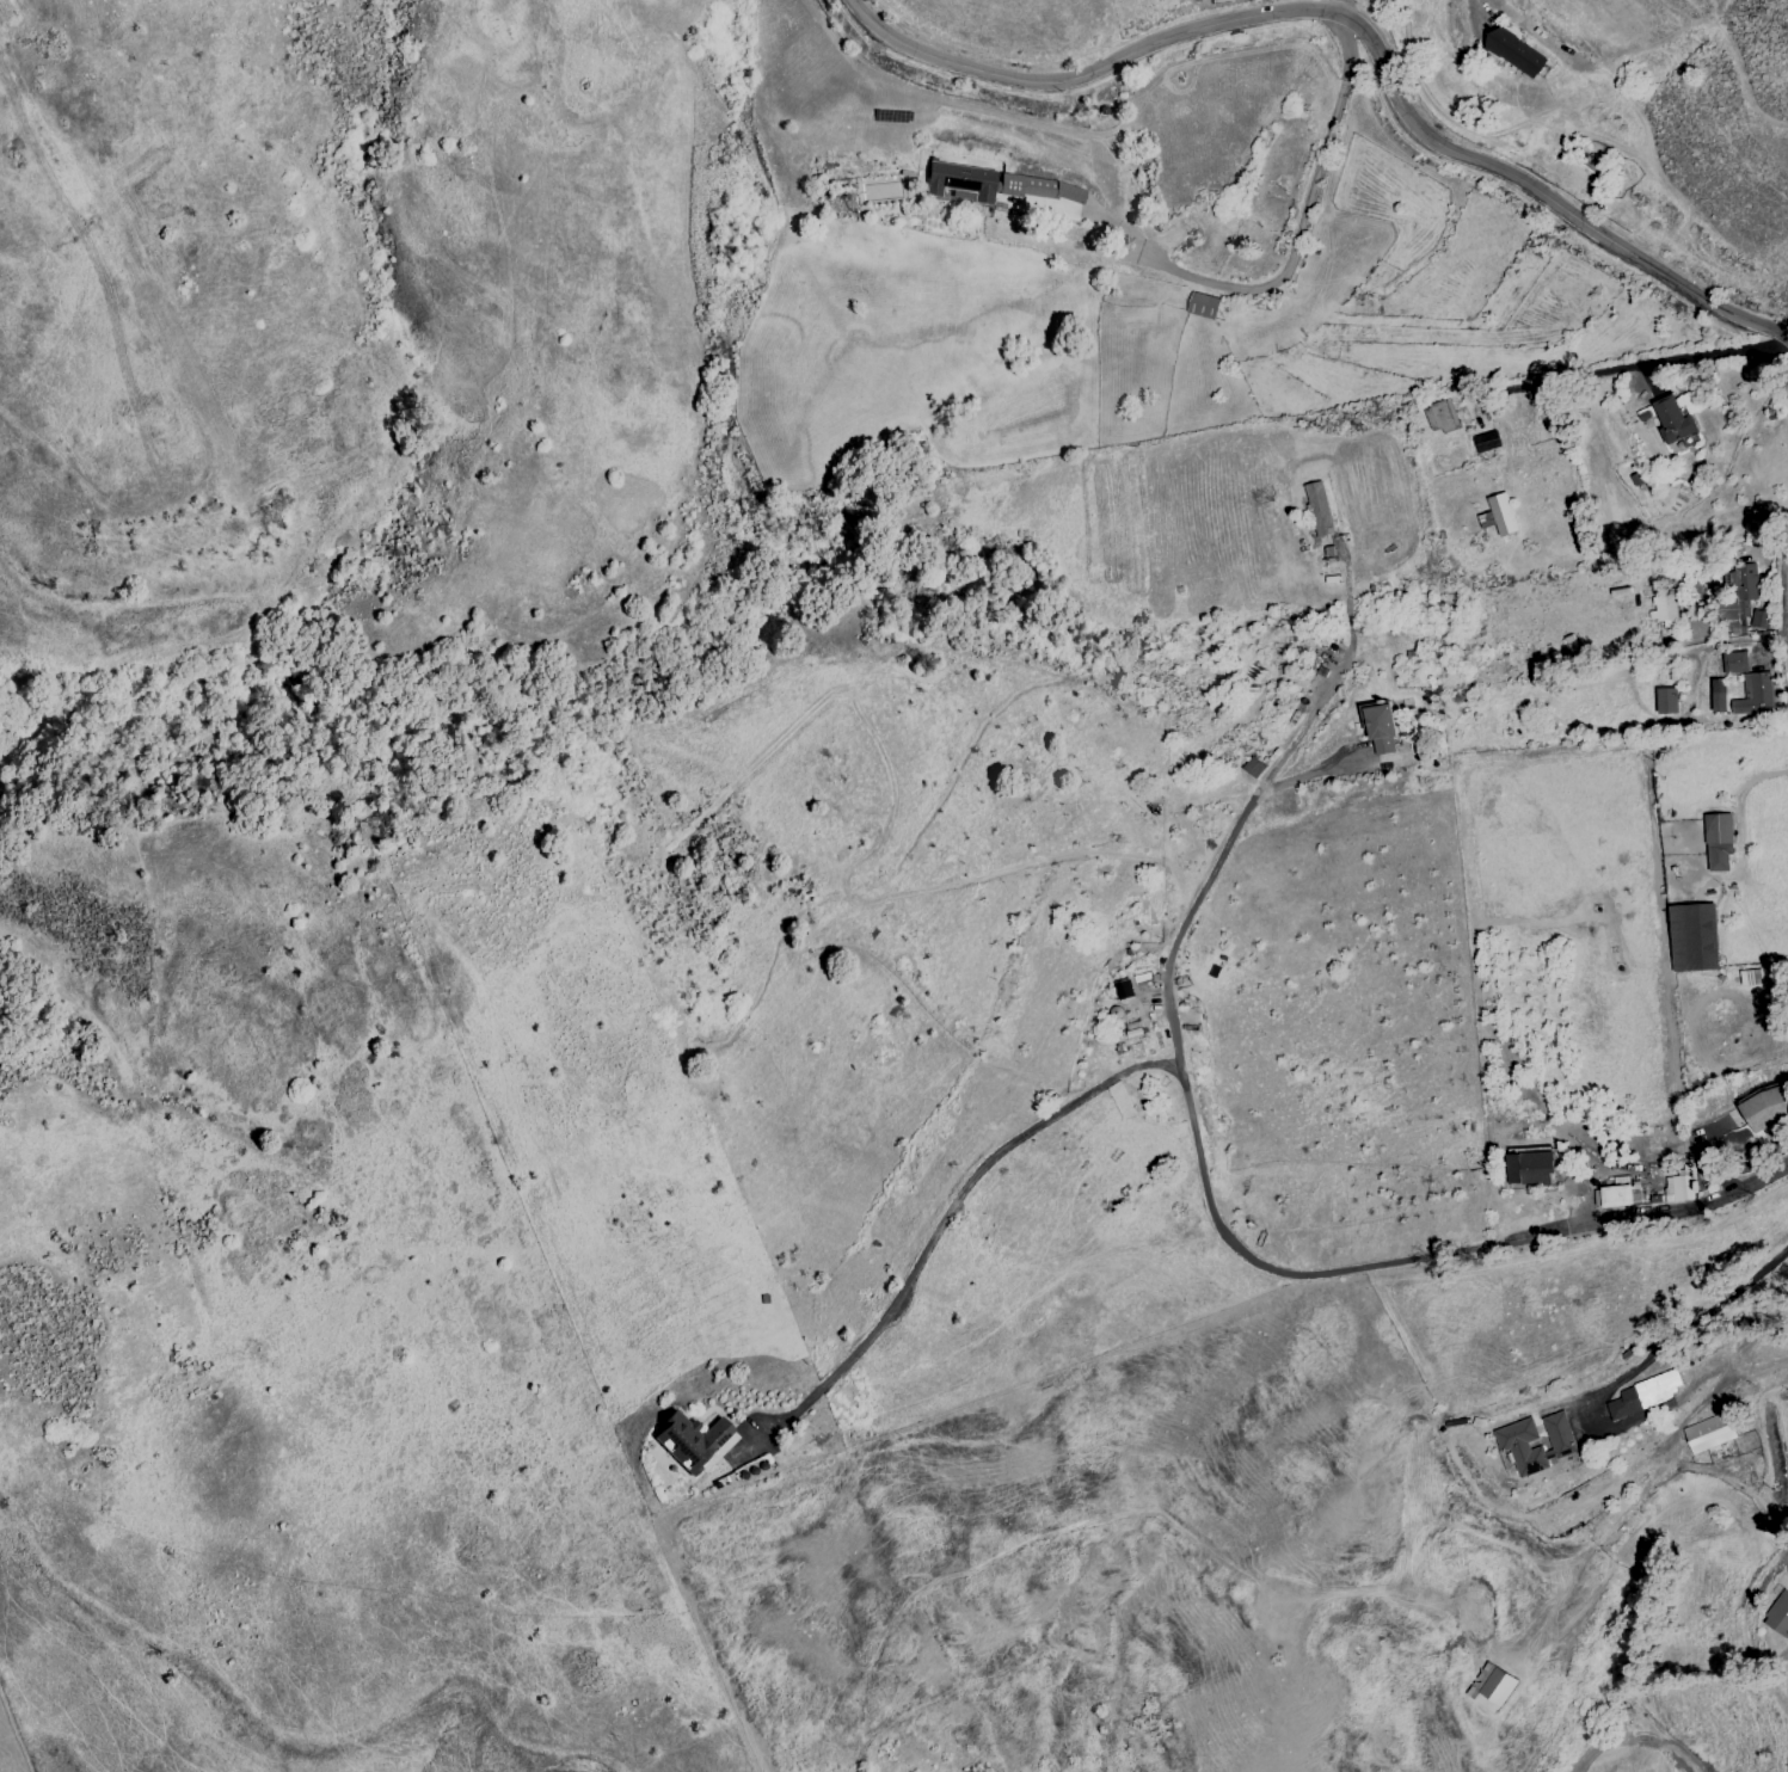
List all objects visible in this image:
road: (1326, 4)
road: (1500, 5)
road: (1356, 27)
building: (1514, 53)
building: (1002, 189)
road: (1301, 232)
building: (1203, 306)
road: (1653, 362)
building: (1440, 417)
building: (1672, 419)
building: (1486, 442)
building: (1317, 509)
building: (1499, 515)
road: (1786, 570)
building: (1738, 595)
building: (1665, 610)
building: (1758, 620)
building: (1698, 626)
building: (1734, 662)
building: (1718, 695)
building: (1753, 695)
building: (1666, 701)
building: (1381, 730)
building: (1253, 767)
road: (1757, 777)
building: (1718, 842)
building: (1692, 937)
building: (1764, 1108)
road: (1200, 1163)
building: (1530, 1168)
building: (1678, 1188)
building: (1621, 1195)
road: (940, 1223)
road: (1675, 1335)
building: (1642, 1395)
building: (1708, 1433)
building: (689, 1439)
building: (1512, 1442)
building: (1778, 1616)
building: (1492, 1687)

